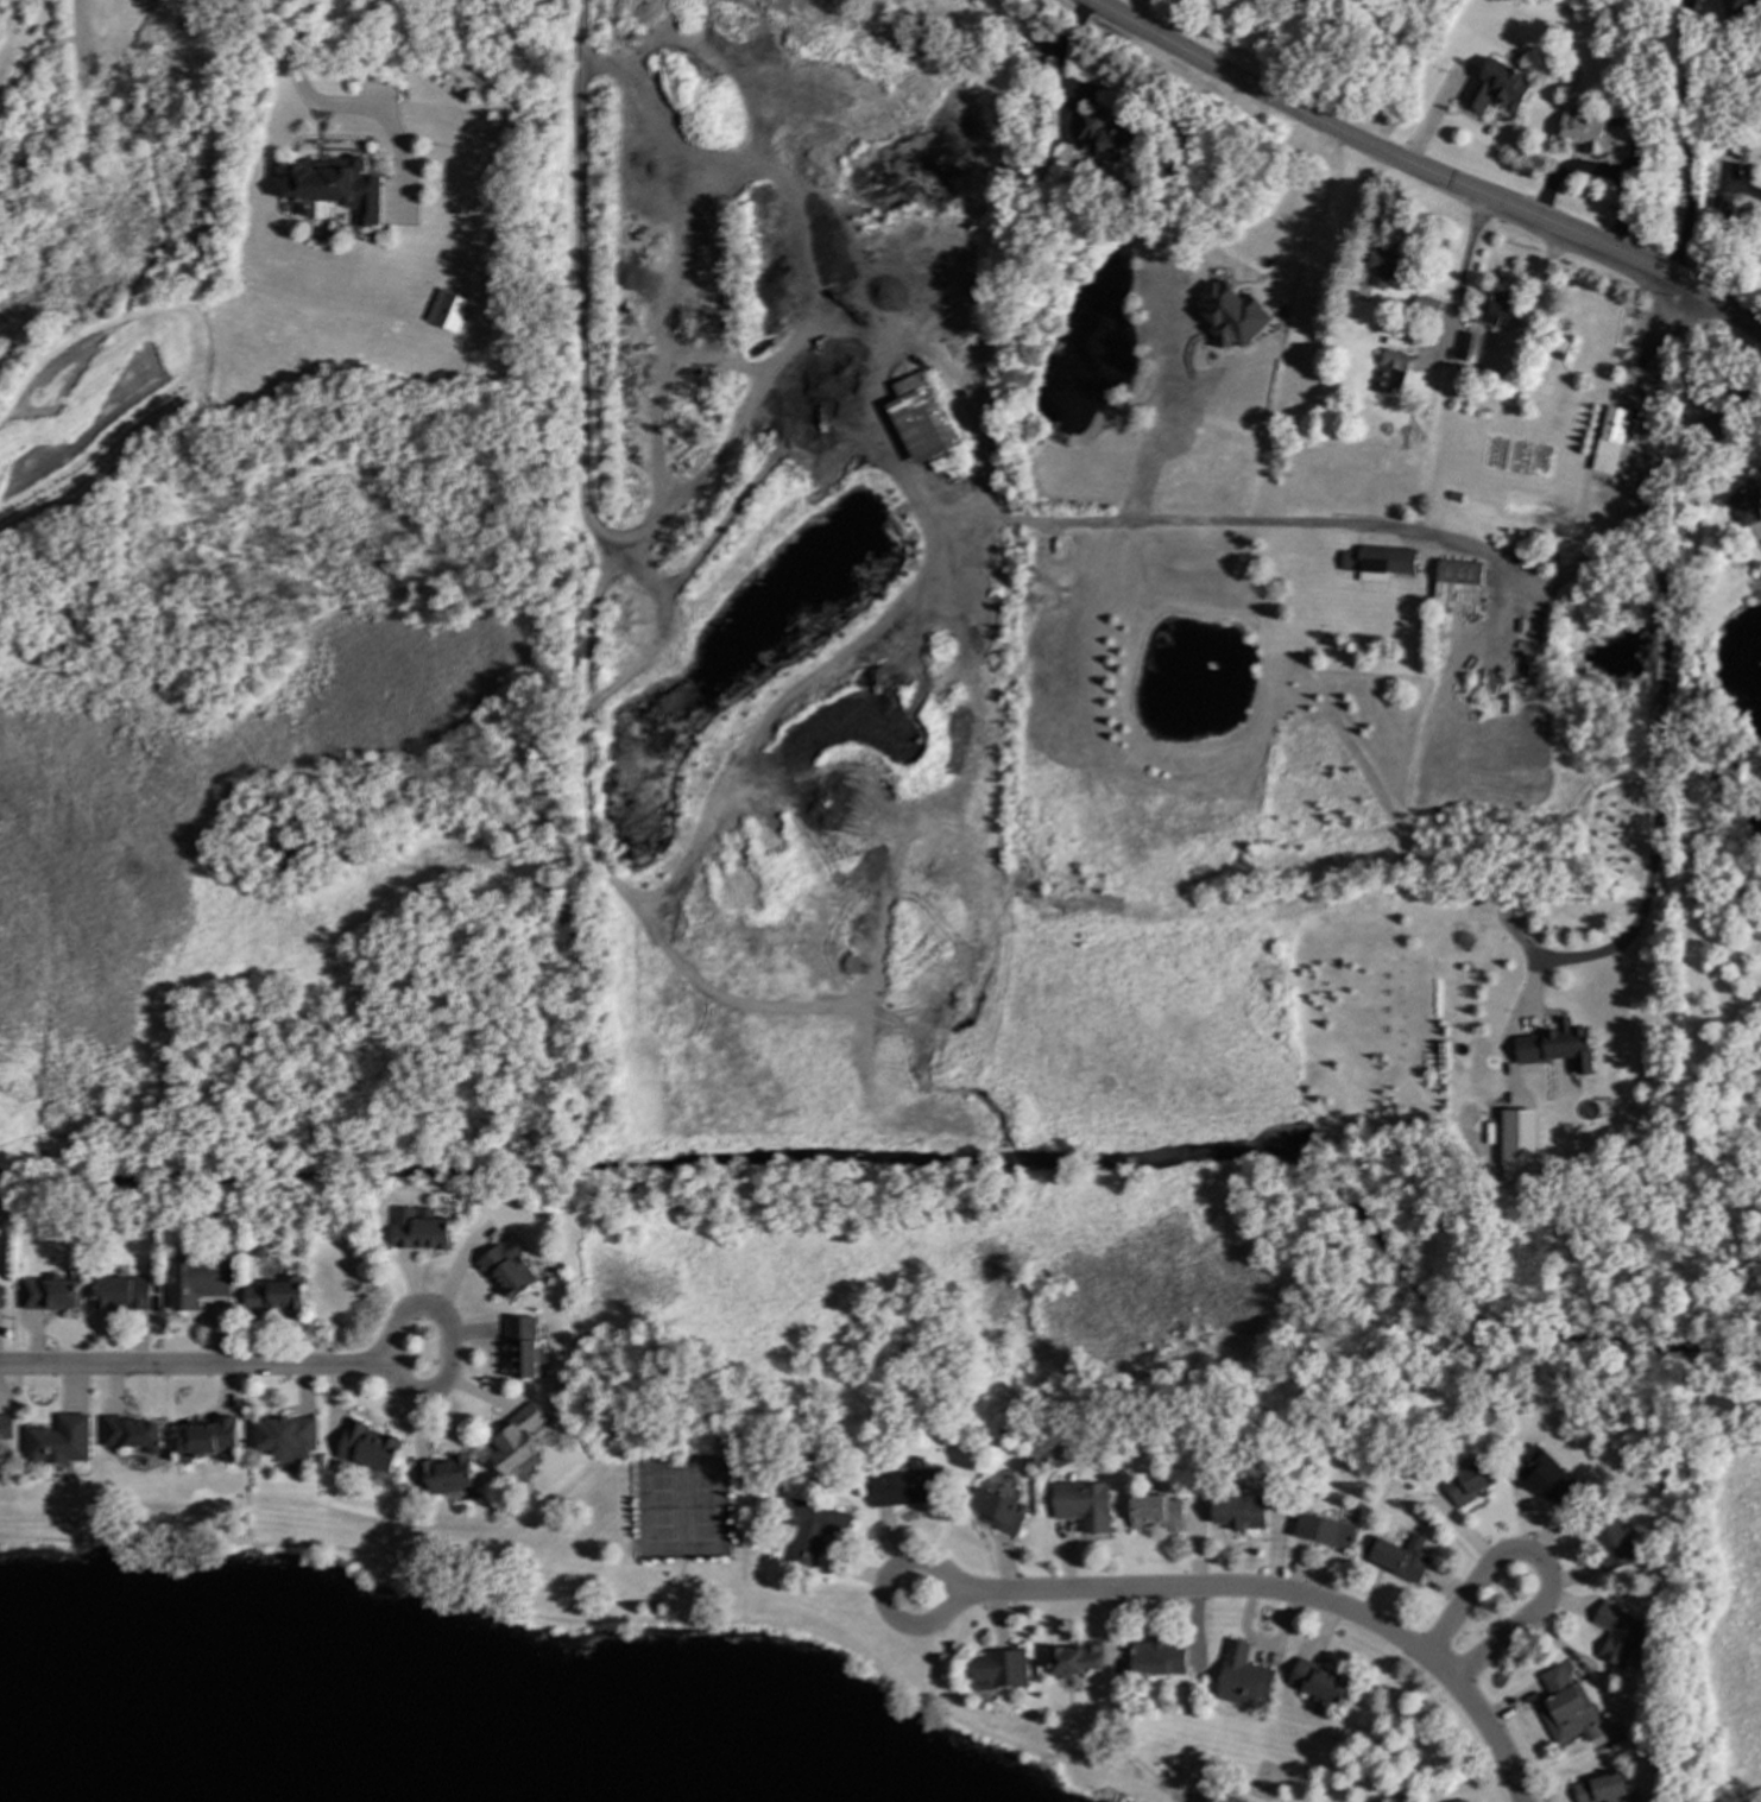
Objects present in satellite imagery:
building: (1743, 8)
road: (1061, 62)
building: (1497, 87)
road: (324, 106)
building: (1591, 132)
building: (1103, 137)
road: (1689, 139)
road: (1381, 146)
building: (334, 188)
road: (1308, 189)
road: (1722, 225)
building: (1387, 266)
building: (1426, 302)
road: (1717, 305)
building: (446, 310)
building: (1495, 310)
building: (1231, 315)
building: (1471, 348)
road: (922, 349)
building: (1390, 373)
building: (917, 418)
building: (1719, 419)
building: (1608, 440)
building: (1749, 499)
road: (1596, 542)
building: (1377, 562)
building: (1456, 586)
road: (1656, 779)
building: (1555, 1047)
building: (1517, 1145)
building: (419, 1229)
building: (509, 1270)
building: (196, 1282)
building: (51, 1292)
building: (124, 1292)
building: (1, 1295)
building: (277, 1295)
building: (524, 1347)
road: (448, 1360)
road: (194, 1366)
building: (5, 1427)
building: (132, 1434)
building: (206, 1437)
building: (286, 1439)
building: (59, 1440)
building: (517, 1440)
building: (370, 1447)
road: (248, 1454)
building: (1540, 1473)
building: (448, 1474)
building: (1467, 1481)
building: (902, 1486)
building: (1083, 1505)
park: (702, 1506)
park: (661, 1507)
building: (995, 1510)
building: (1156, 1512)
building: (1239, 1512)
building: (1324, 1530)
building: (813, 1531)
building: (1611, 1544)
road: (743, 1551)
building: (1397, 1557)
road: (1536, 1560)
road: (884, 1587)
road: (681, 1588)
road: (1282, 1593)
road: (635, 1619)
building: (1616, 1633)
building: (1157, 1657)
building: (1074, 1658)
building: (998, 1669)
building: (1242, 1676)
building: (1318, 1681)
road: (1371, 1745)
building: (1599, 1789)
building: (1462, 1801)

